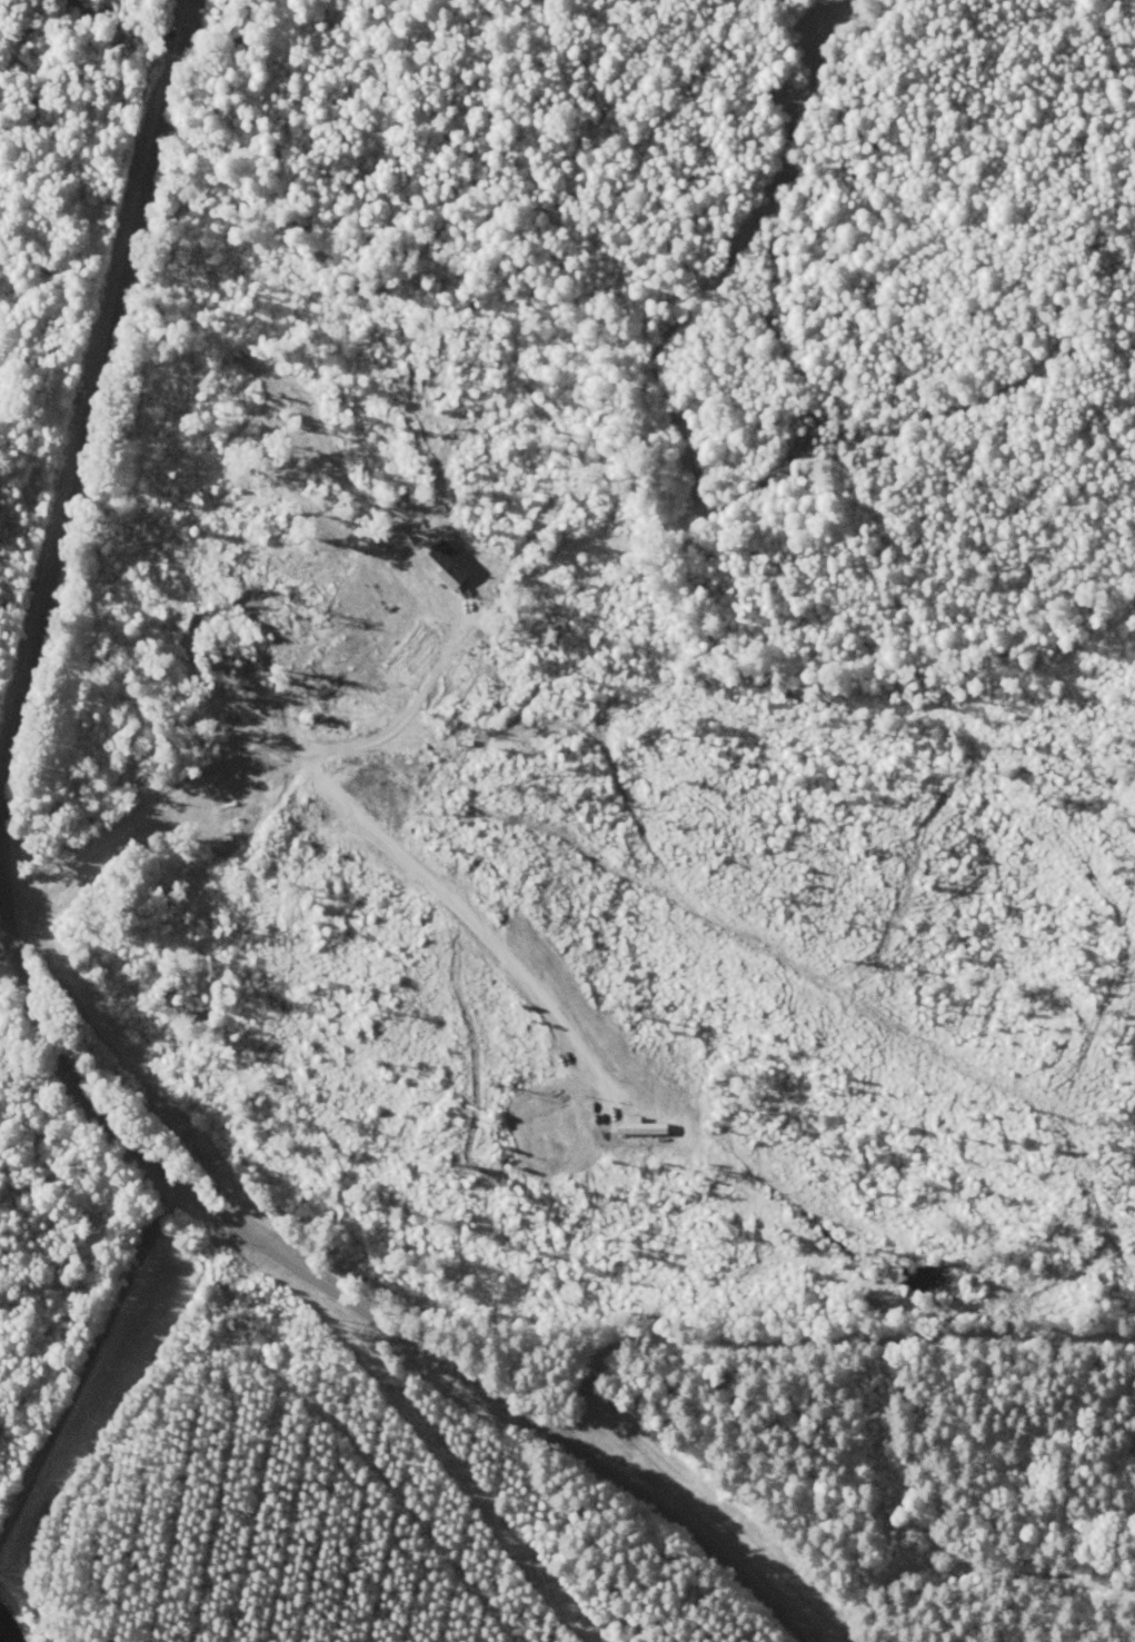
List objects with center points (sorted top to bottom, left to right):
road: (68, 302)
road: (375, 1318)
road: (89, 1355)

